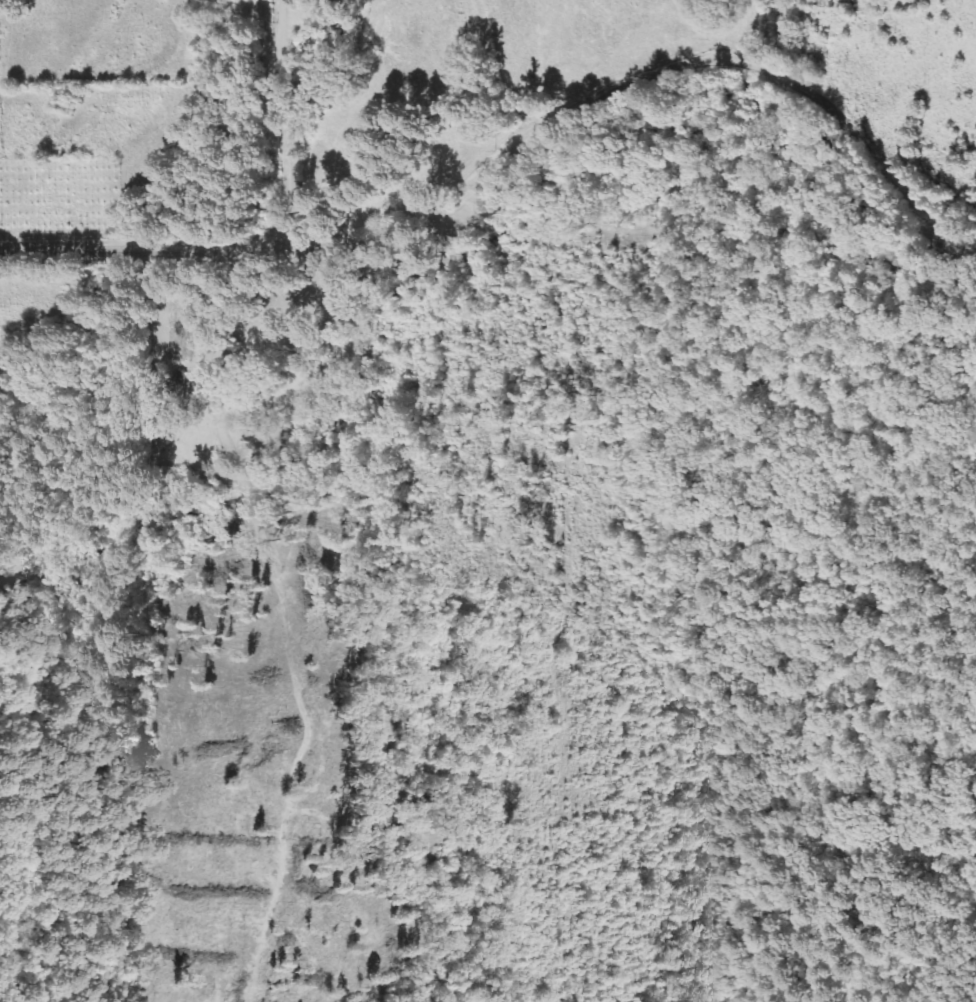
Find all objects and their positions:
road: (704, 50)
road: (284, 131)
road: (13, 179)
road: (451, 221)

